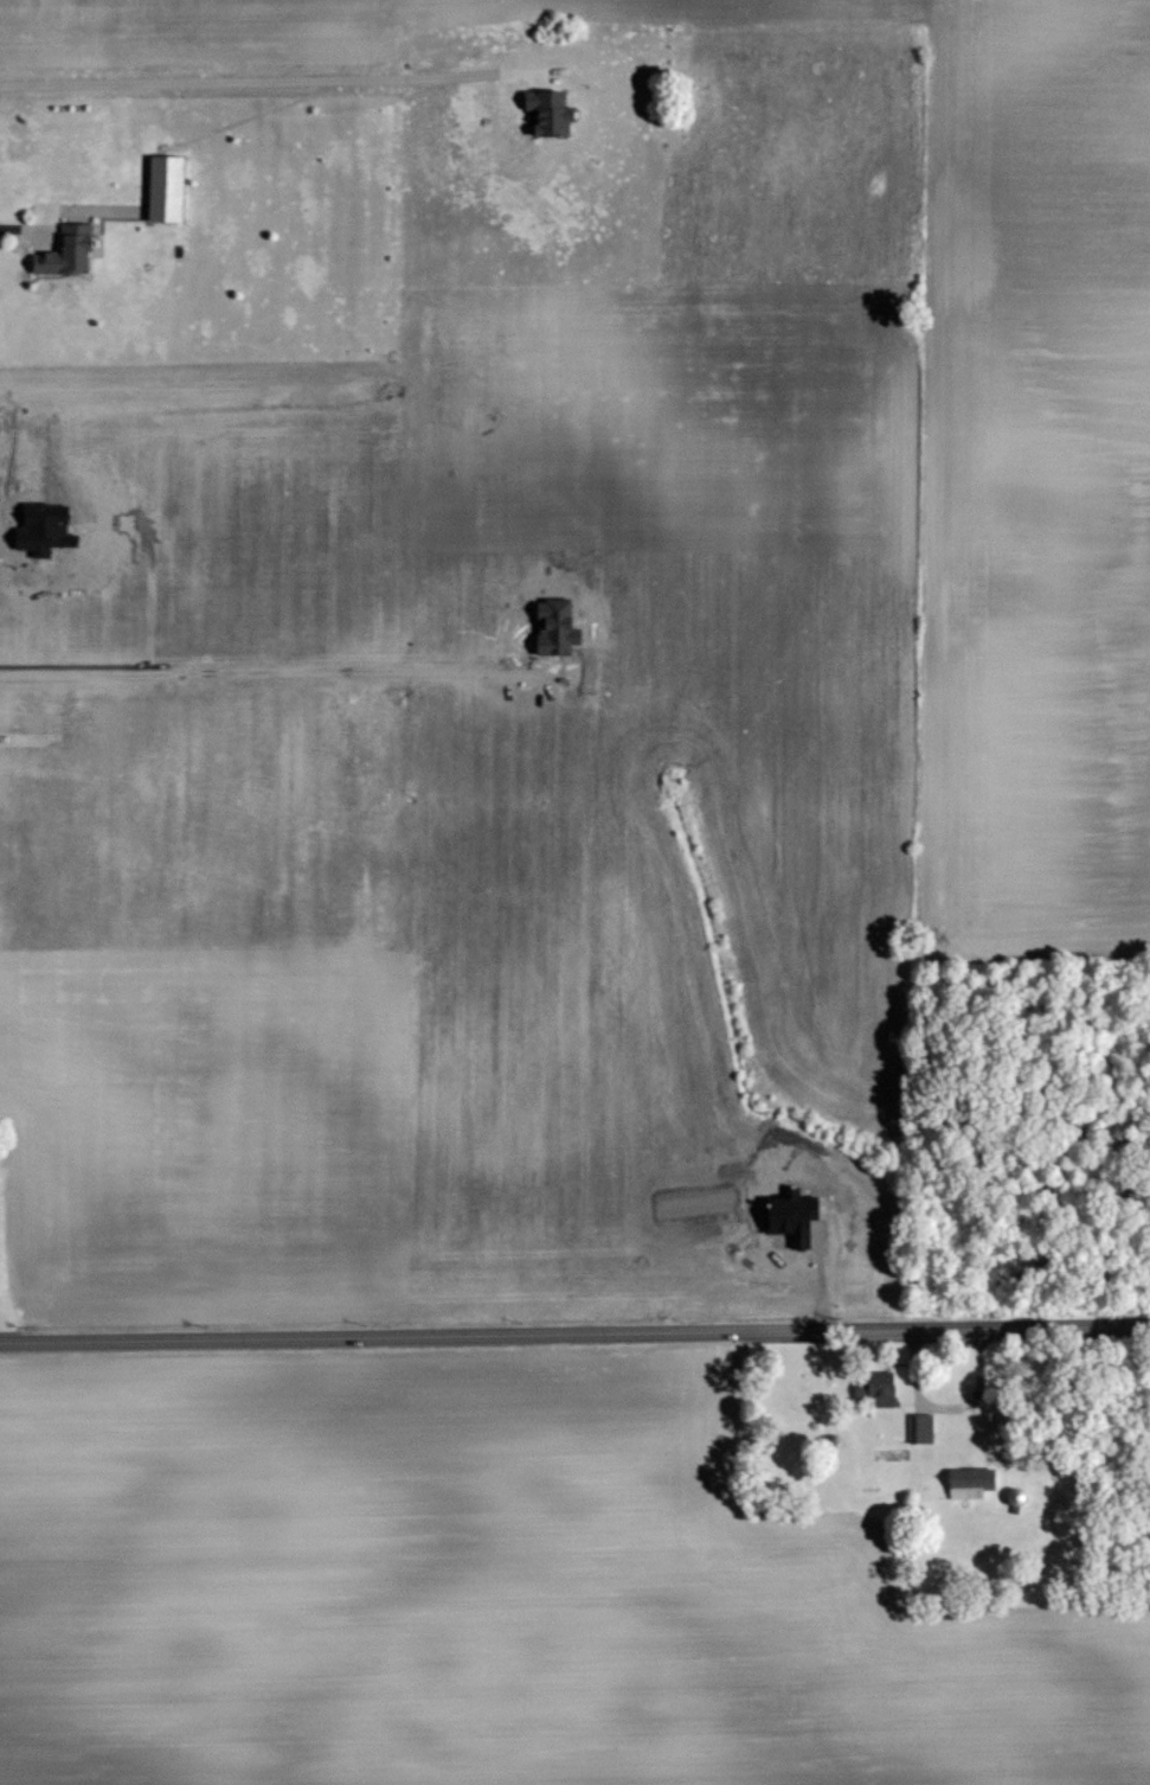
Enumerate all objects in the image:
road: (265, 76)
building: (540, 109)
building: (160, 186)
road: (26, 224)
building: (59, 249)
road: (46, 571)
road: (276, 668)
road: (574, 1333)
building: (873, 1387)
building: (917, 1427)
building: (966, 1482)

